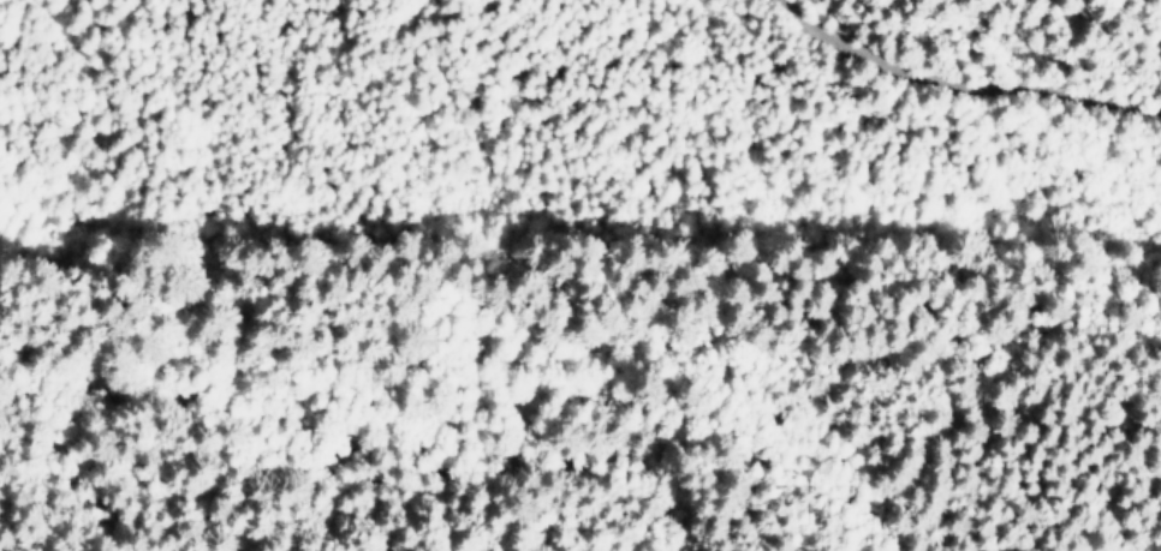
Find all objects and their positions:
road: (955, 83)

